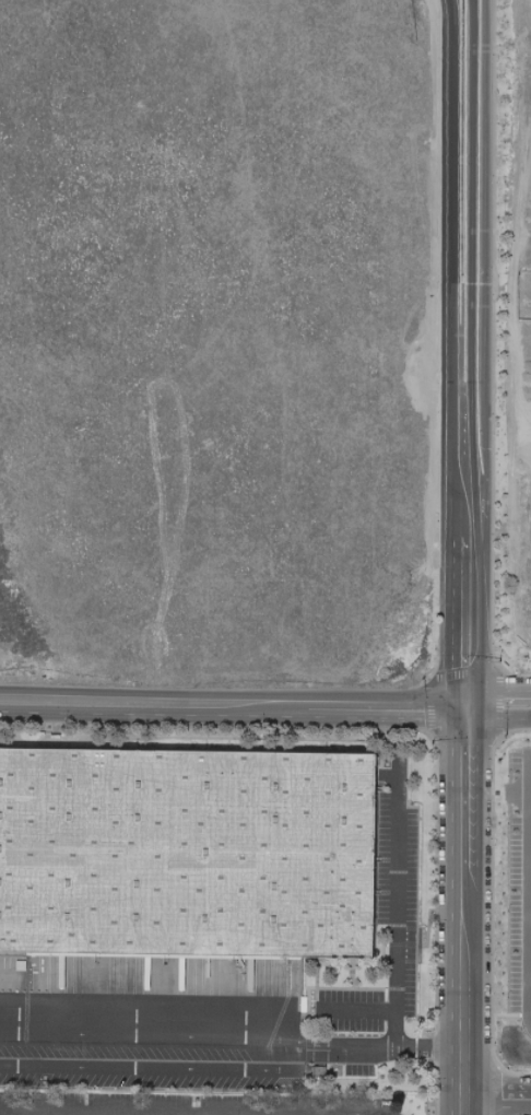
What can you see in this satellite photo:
road: (450, 5)
road: (451, 5)
road: (482, 108)
building: (530, 250)
road: (449, 267)
road: (495, 337)
road: (436, 340)
road: (480, 462)
road: (452, 613)
road: (463, 674)
road: (497, 692)
road: (233, 700)
traffic signals: (467, 704)
road: (496, 721)
road: (465, 786)
building: (185, 865)
road: (529, 892)
road: (392, 939)
road: (464, 991)
road: (353, 1010)
road: (196, 1036)
road: (155, 1063)
road: (497, 1100)
road: (91, 1113)
road: (20, 1114)

